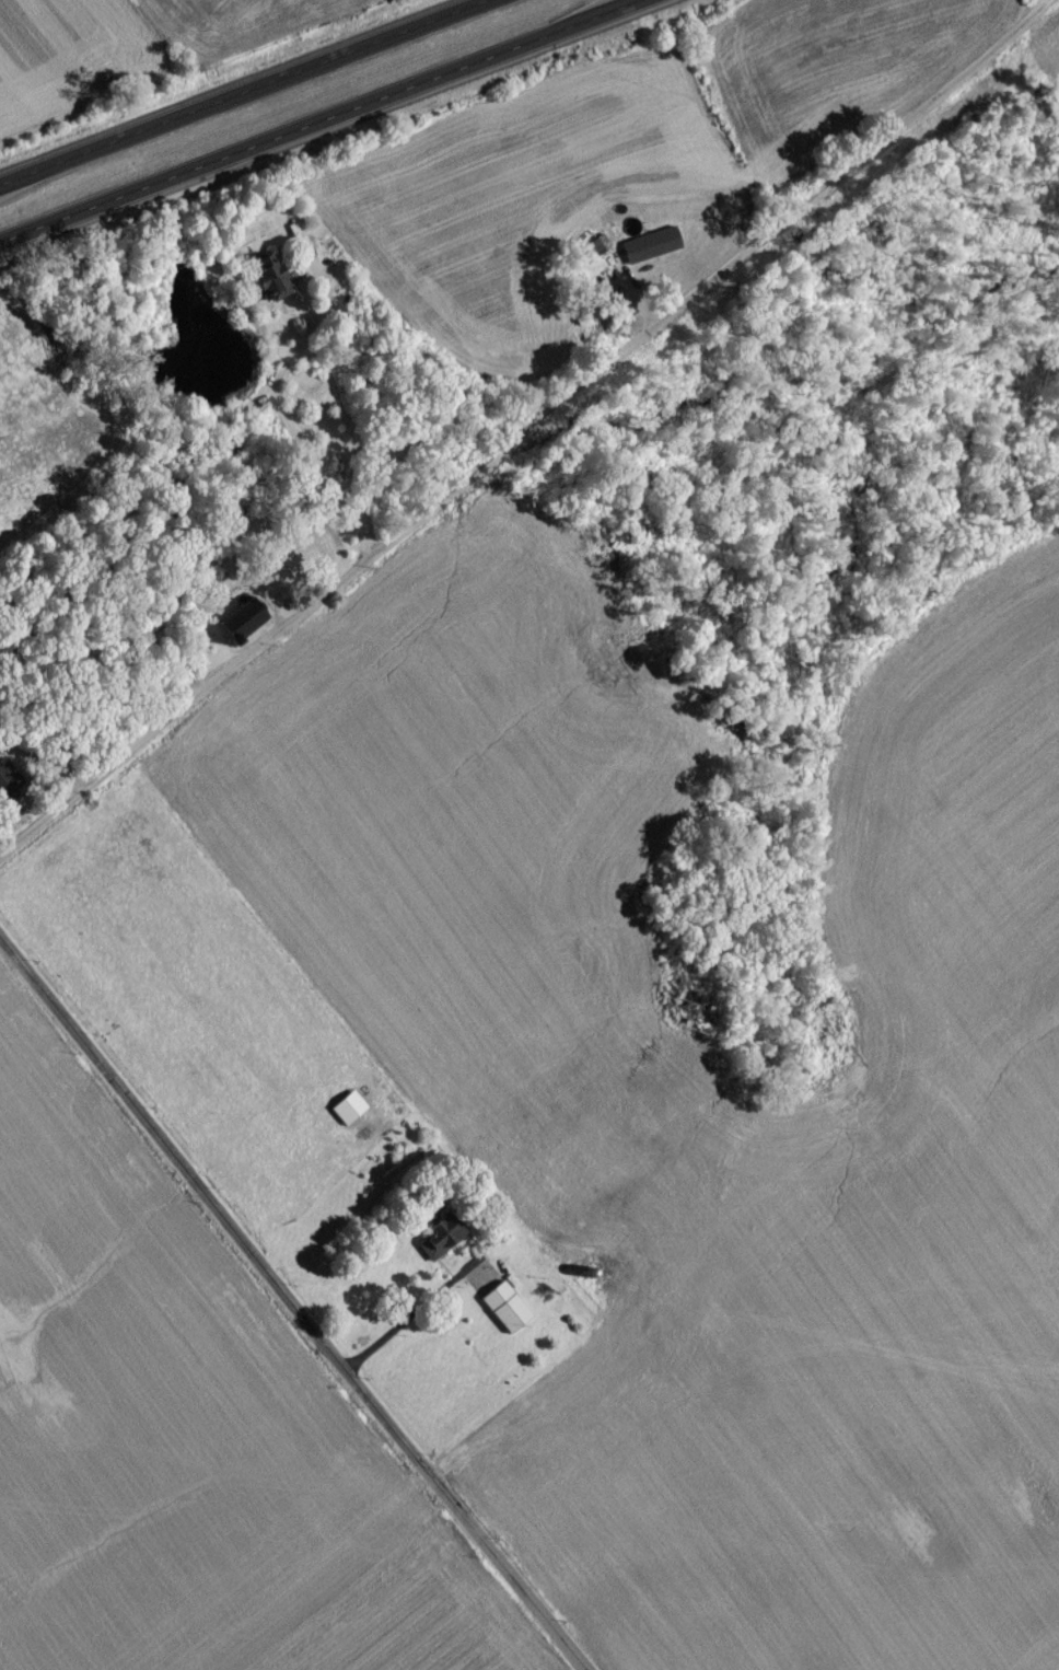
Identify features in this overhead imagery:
road: (242, 89)
road: (326, 123)
building: (648, 253)
building: (269, 287)
road: (280, 416)
road: (527, 434)
building: (4, 793)
building: (439, 1242)
road: (293, 1307)
building: (503, 1313)
road: (408, 1317)

